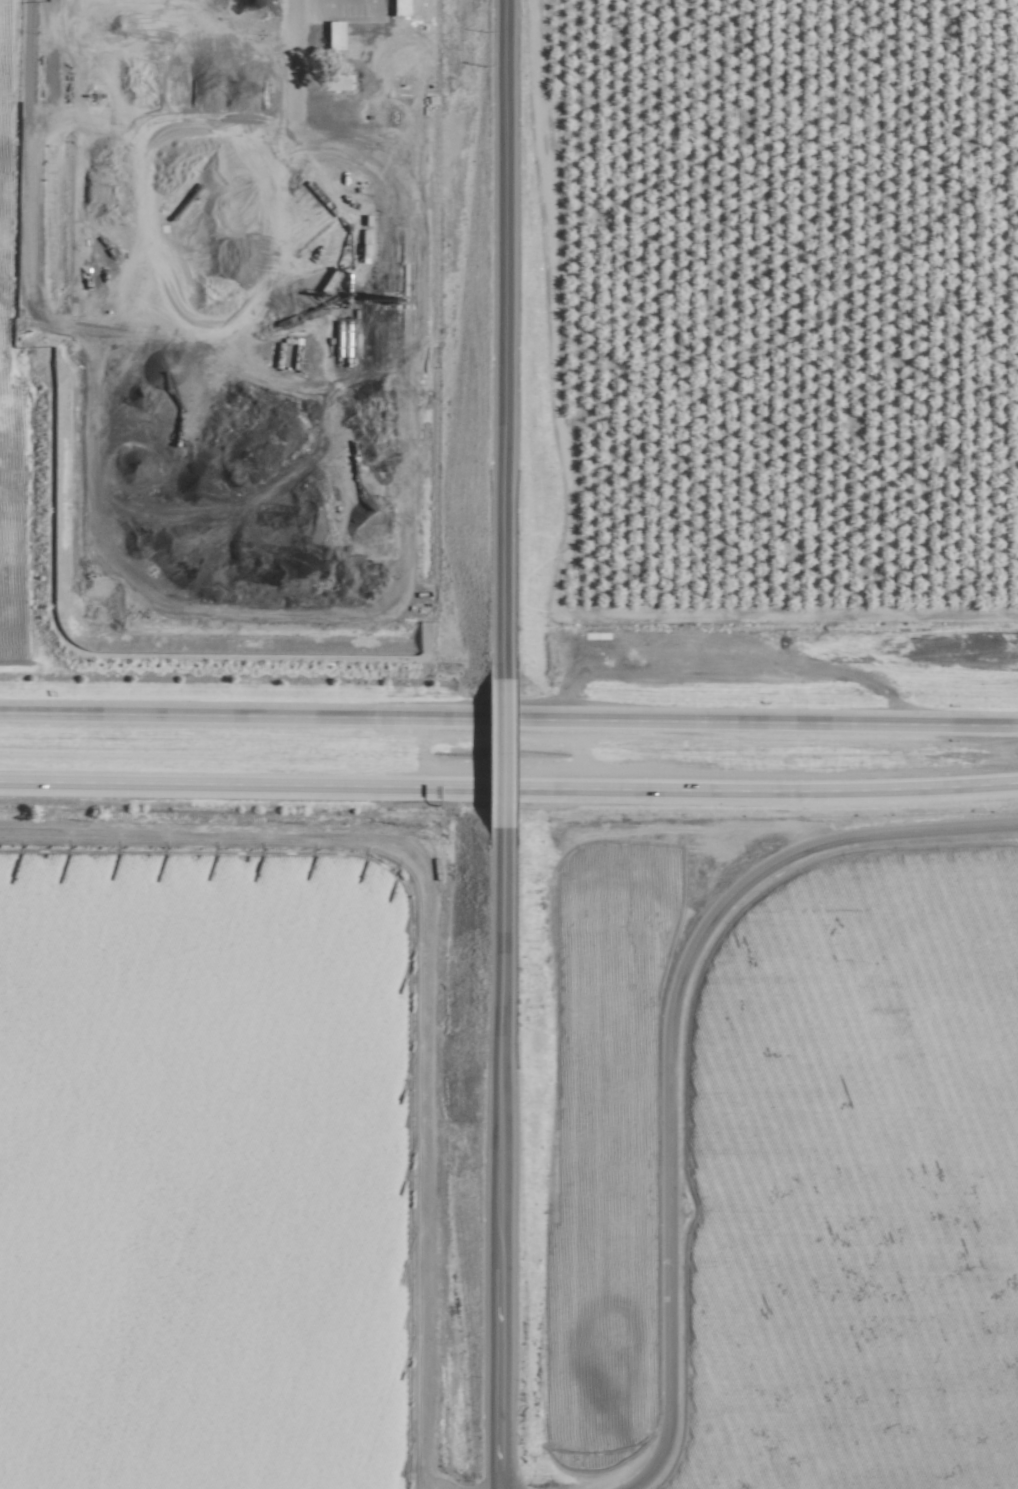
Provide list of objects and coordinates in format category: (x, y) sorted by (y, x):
building: (395, 7)
building: (268, 31)
building: (331, 35)
building: (332, 82)
road: (495, 337)
road: (405, 718)
road: (914, 723)
road: (494, 751)
road: (509, 787)
road: (420, 992)
road: (669, 1105)
road: (491, 1158)

